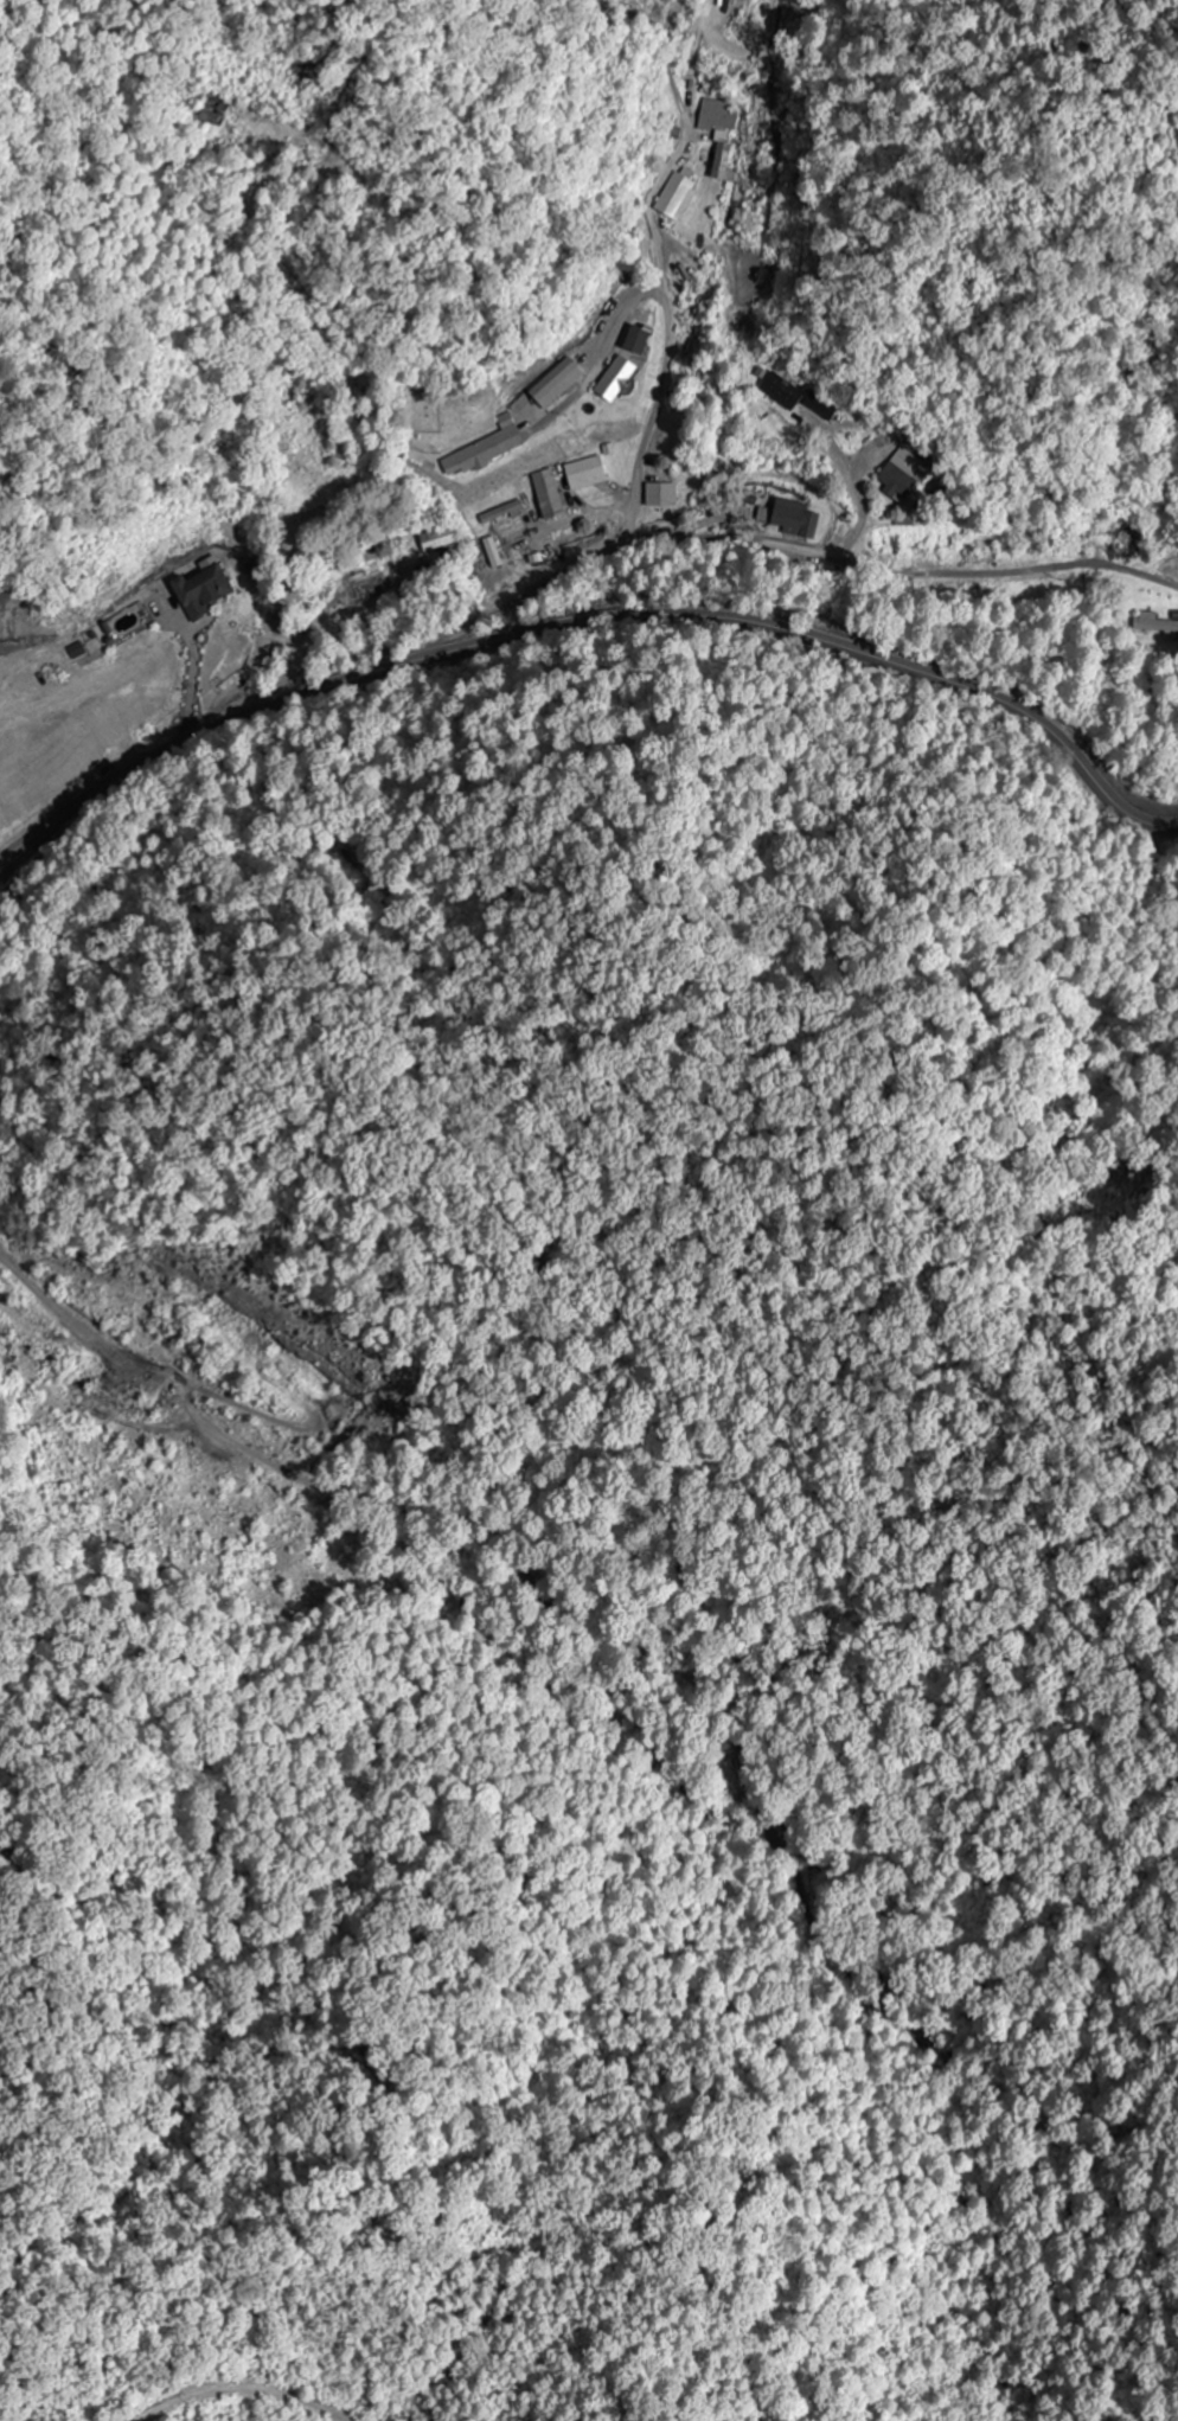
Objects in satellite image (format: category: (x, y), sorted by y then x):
building: (213, 109)
building: (717, 115)
building: (722, 164)
building: (676, 196)
road: (644, 260)
building: (635, 340)
building: (615, 379)
building: (561, 389)
building: (781, 391)
building: (821, 405)
building: (488, 450)
building: (585, 474)
building: (895, 482)
building: (661, 495)
building: (549, 498)
building: (795, 519)
road: (479, 525)
road: (767, 531)
building: (440, 539)
building: (1123, 545)
building: (984, 553)
building: (366, 587)
building: (201, 590)
road: (382, 591)
road: (591, 623)
building: (1155, 627)
road: (338, 662)
building: (95, 724)
building: (33, 784)

